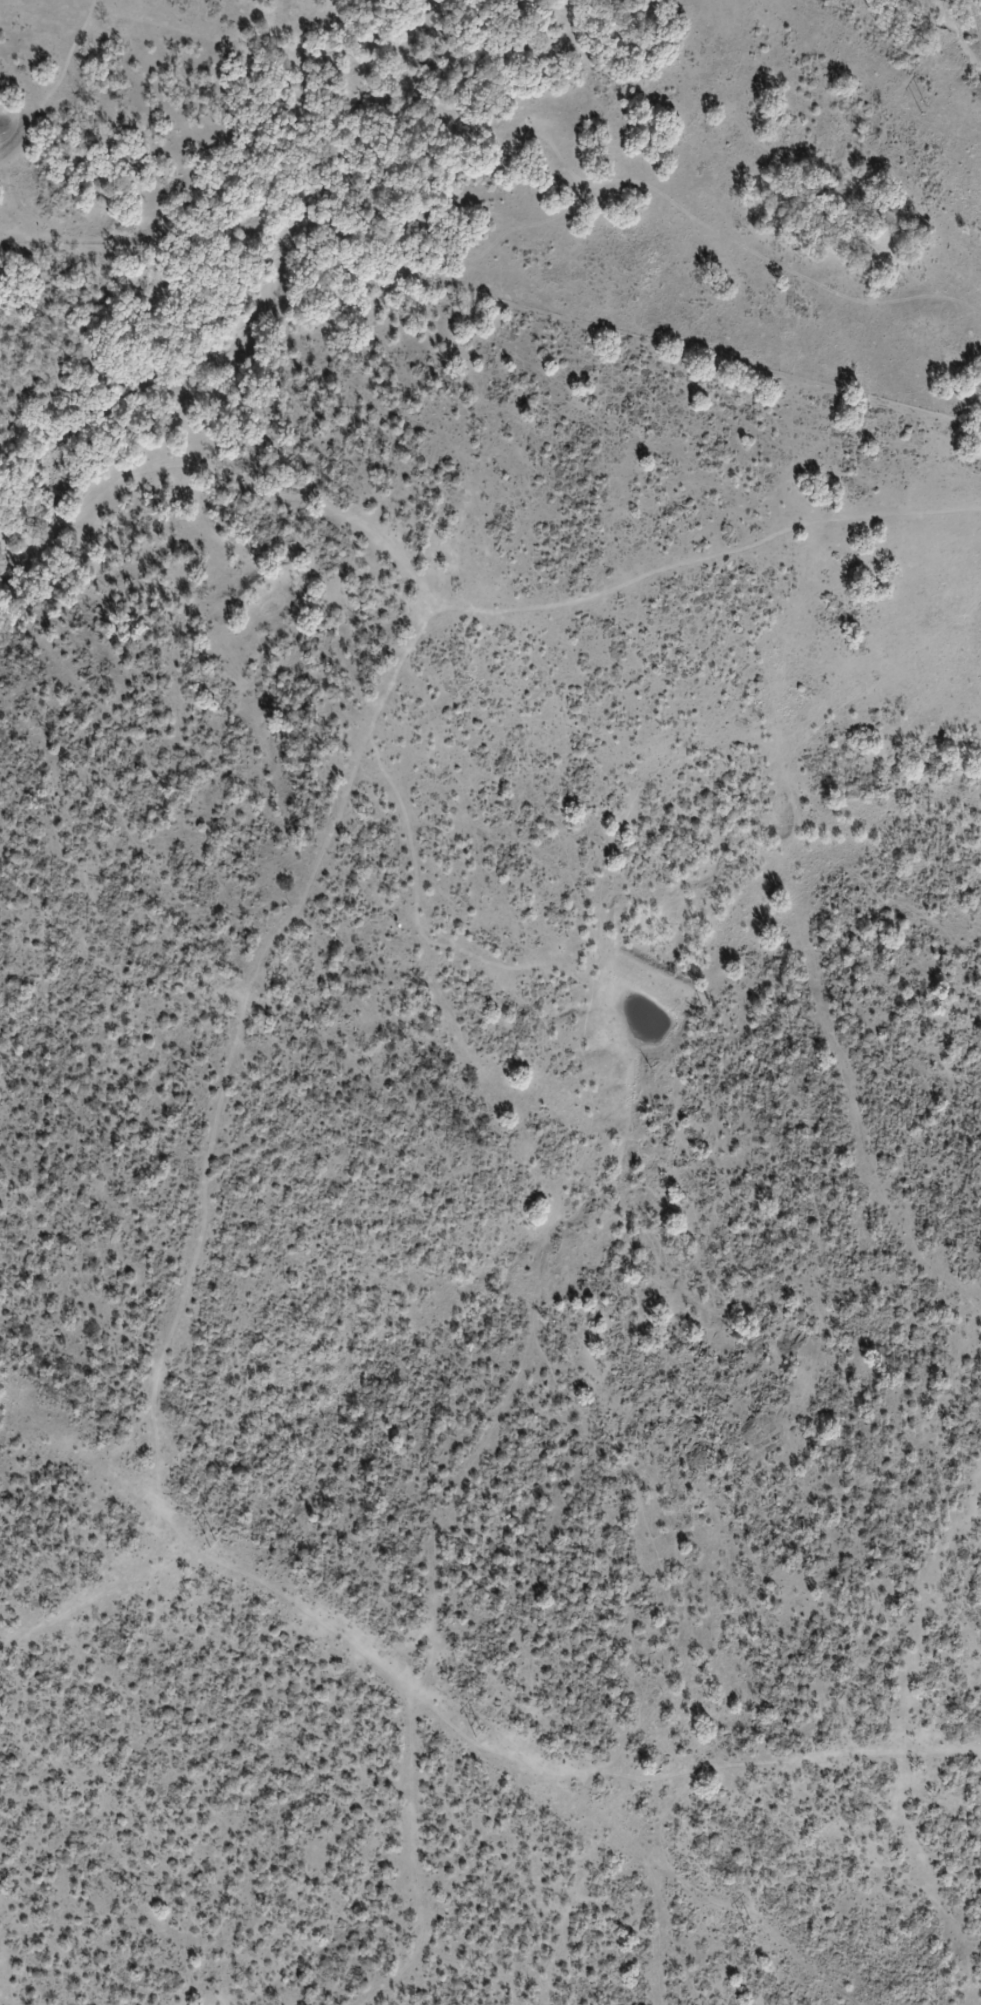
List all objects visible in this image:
road: (58, 83)
power tower: (930, 105)
road: (341, 807)
power tower: (223, 1544)
road: (438, 1703)
power tower: (486, 1731)
power tower: (757, 1927)

